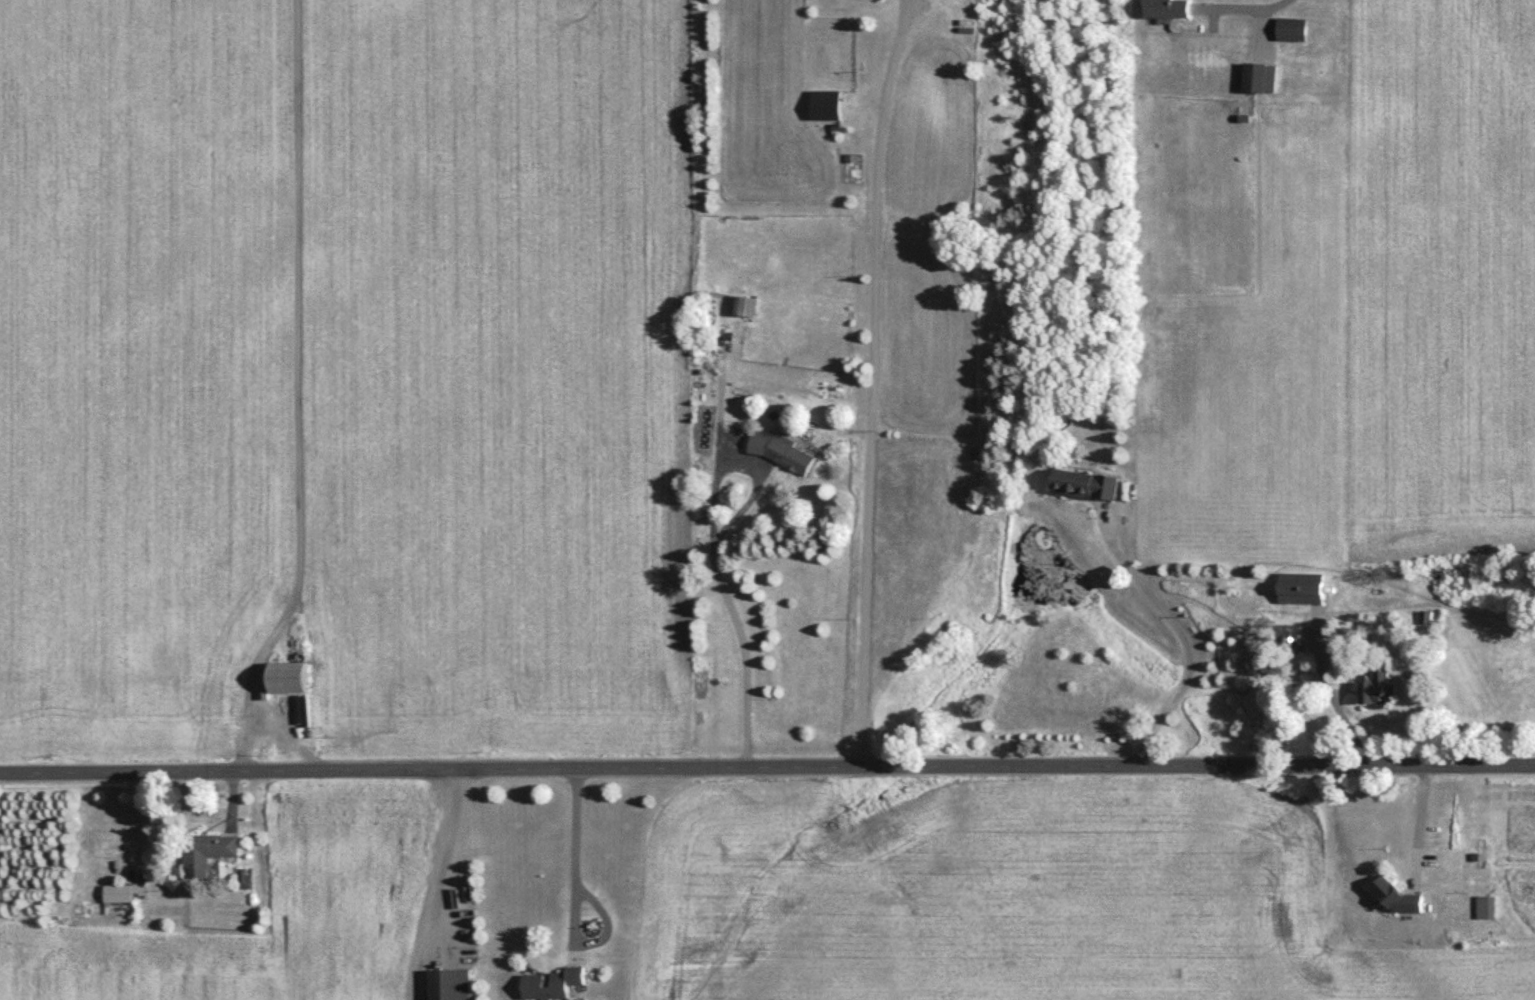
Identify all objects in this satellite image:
building: (1170, 9)
road: (1247, 11)
building: (1294, 31)
building: (1262, 80)
building: (828, 107)
building: (740, 306)
road: (872, 380)
building: (782, 453)
building: (1087, 486)
road: (712, 549)
building: (1304, 590)
road: (1179, 635)
building: (1292, 639)
building: (291, 679)
building: (1380, 687)
road: (767, 764)
road: (1417, 818)
building: (213, 851)
road: (449, 864)
building: (120, 895)
road: (576, 900)
building: (1401, 902)
building: (1487, 909)
building: (555, 985)
building: (452, 986)

